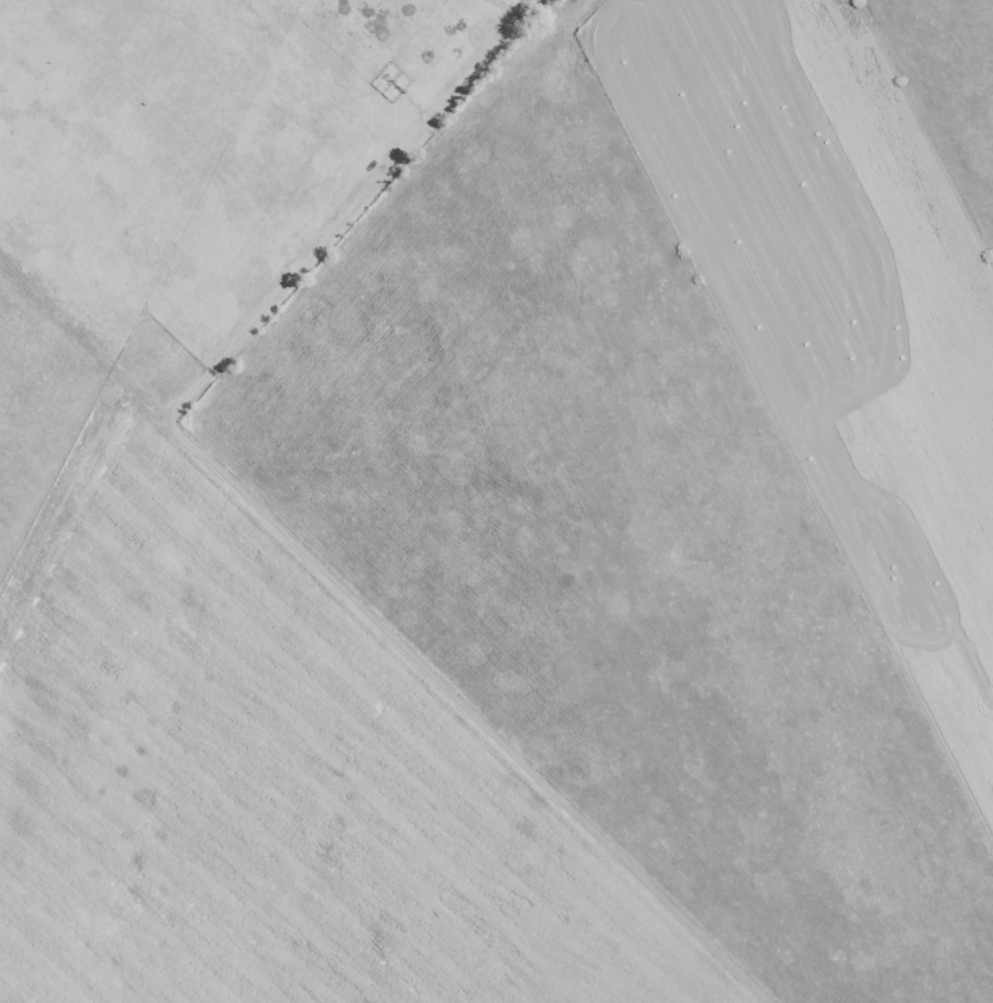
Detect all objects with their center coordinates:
road: (273, 515)

